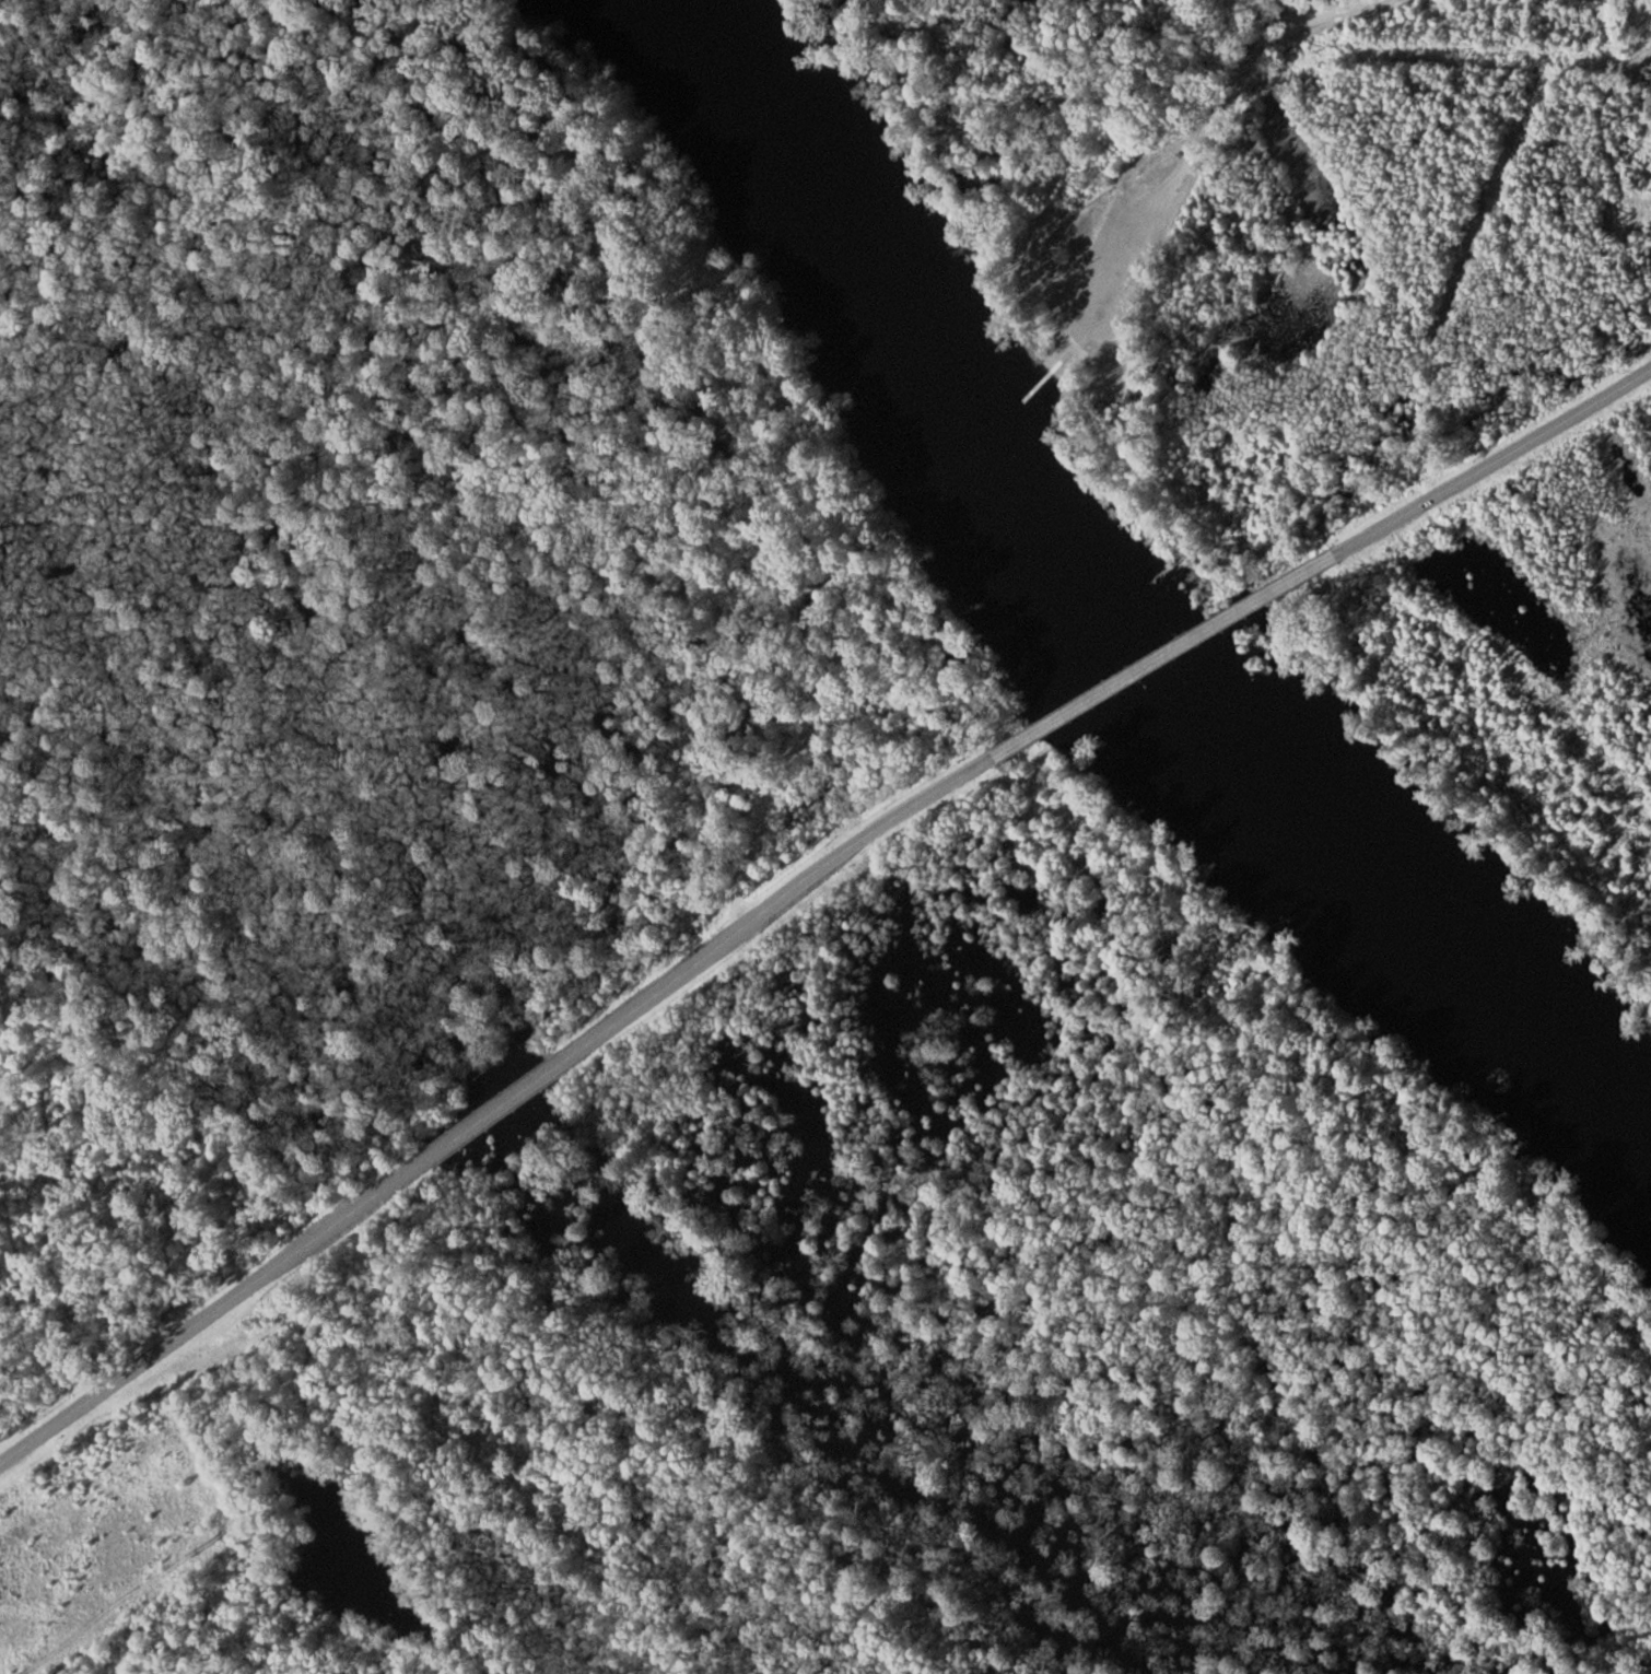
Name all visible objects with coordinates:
building: (1649, 34)
building: (1648, 96)
road: (1199, 141)
parking lot: (1114, 270)
parking lot: (1056, 308)
road: (1054, 323)
road: (1078, 348)
road: (1050, 365)
road: (1061, 375)
pier: (1047, 377)
road: (1492, 463)
river: (1110, 625)
road: (1164, 655)
road: (775, 901)
road: (492, 1110)
road: (211, 1312)

